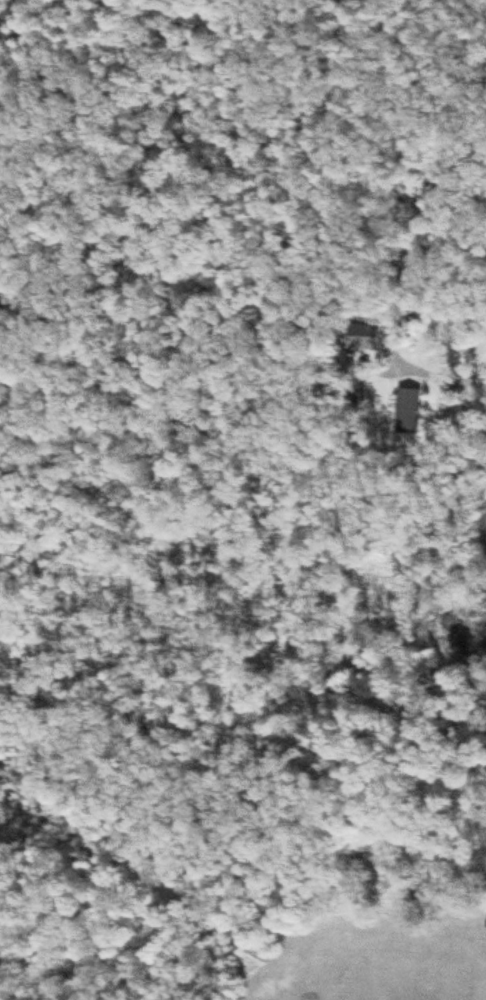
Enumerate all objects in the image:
building: (409, 413)

